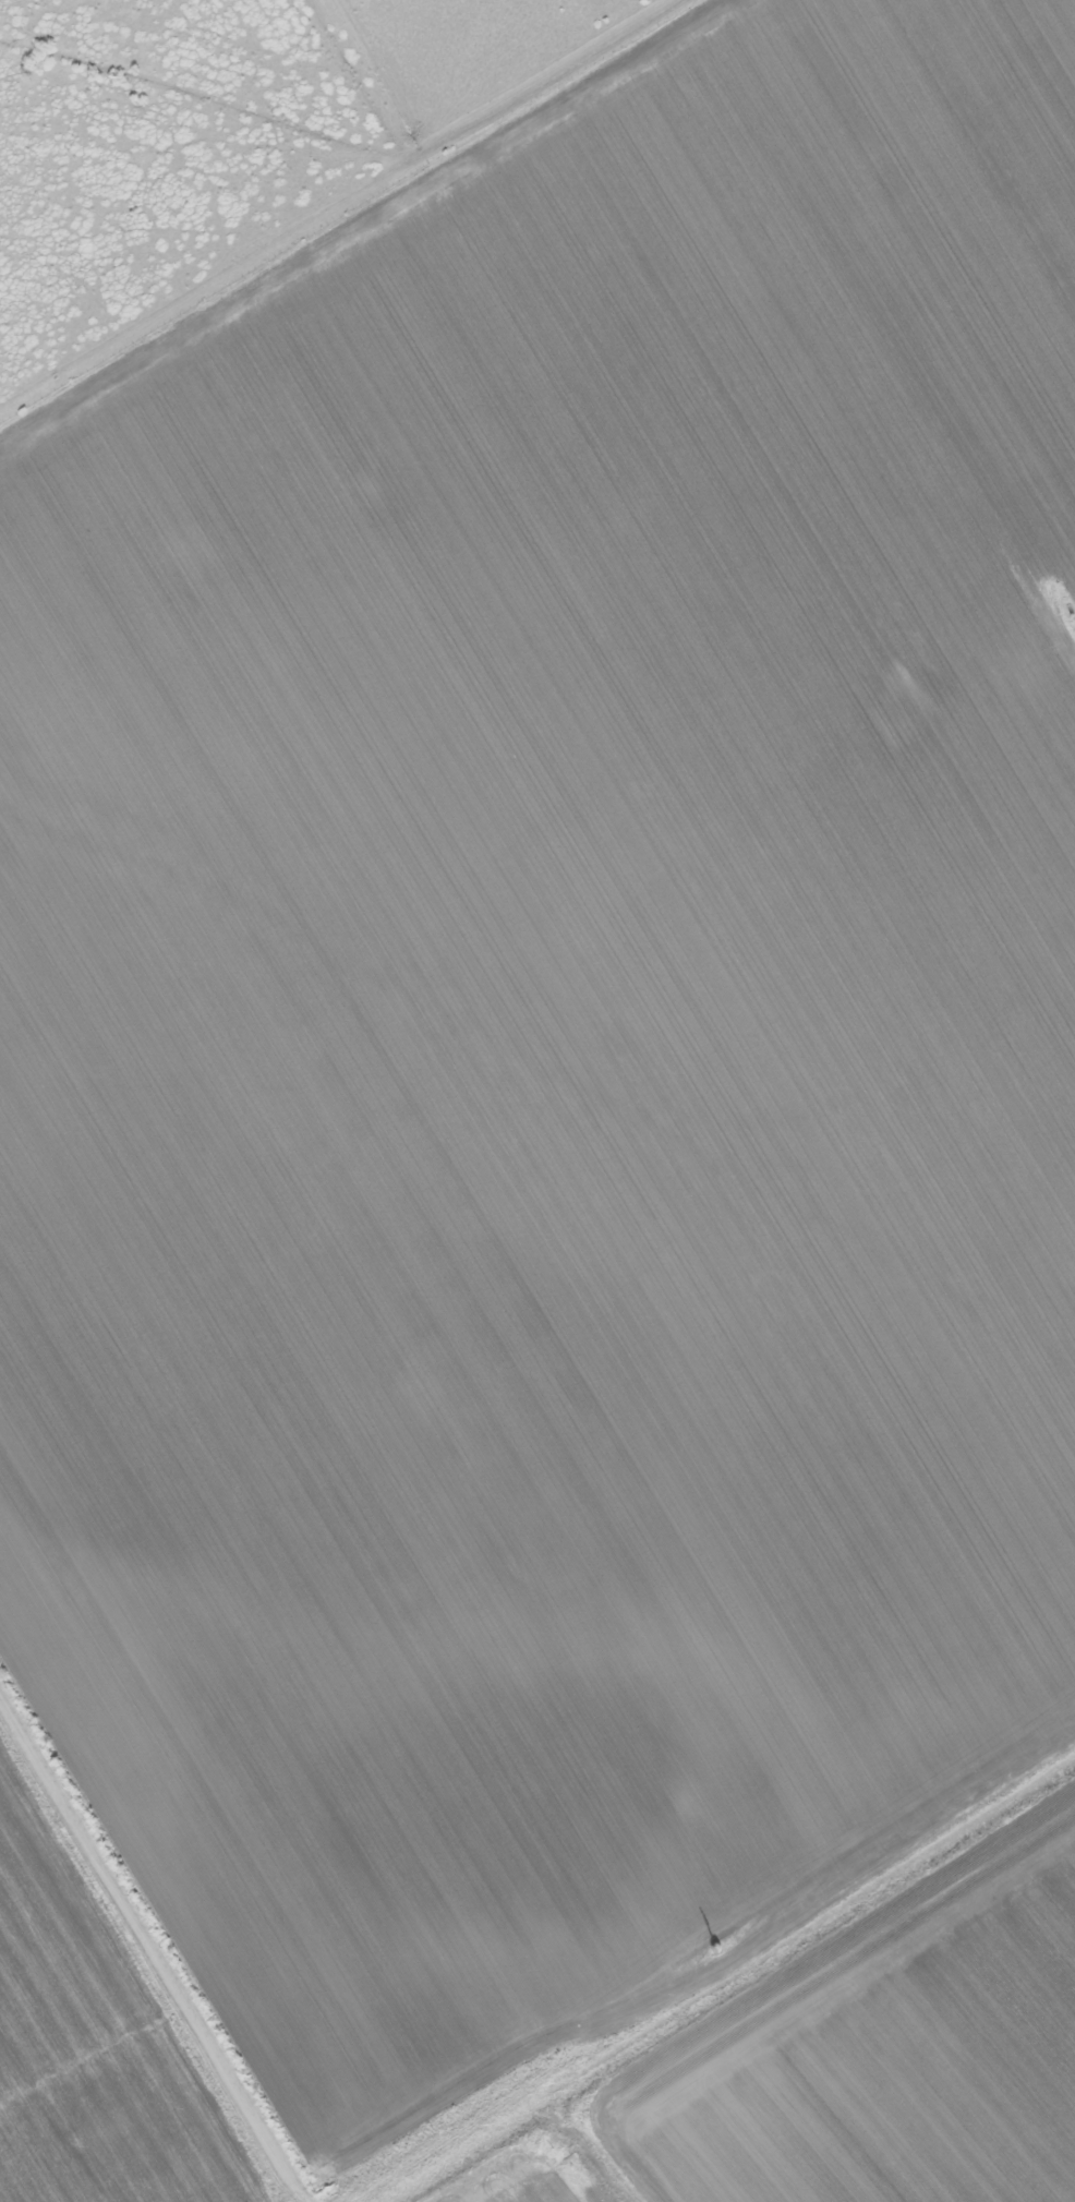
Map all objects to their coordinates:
power tower: (714, 1950)

